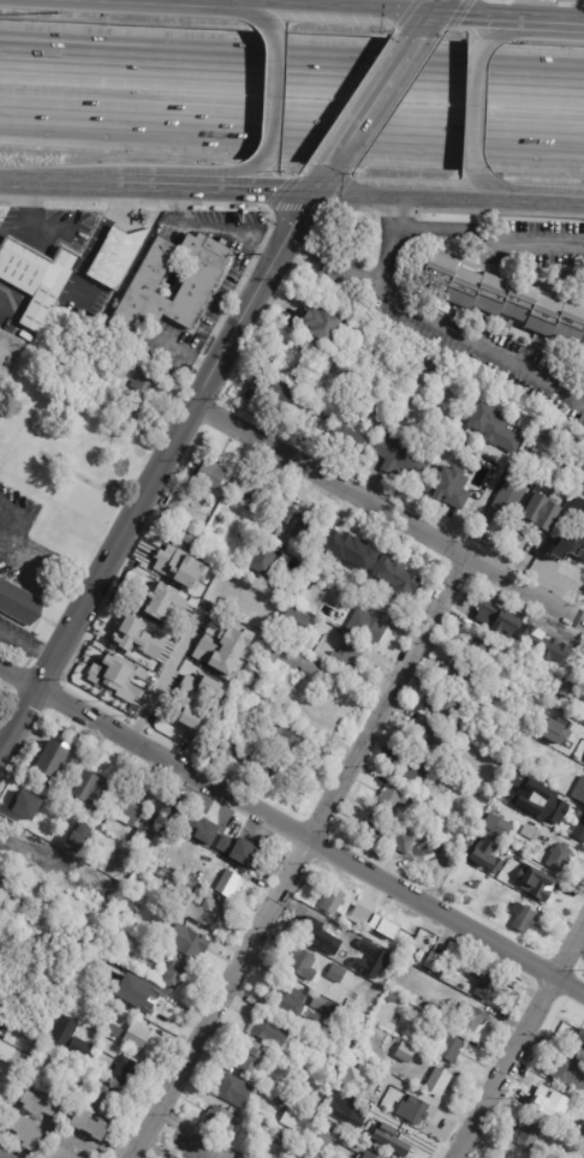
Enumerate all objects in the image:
road: (187, 2)
road: (354, 6)
road: (338, 11)
road: (261, 16)
traffic signals: (431, 16)
road: (430, 17)
road: (487, 18)
road: (562, 22)
road: (513, 30)
road: (12, 53)
road: (12, 54)
road: (304, 67)
road: (273, 96)
road: (371, 106)
road: (473, 107)
road: (292, 126)
road: (236, 178)
road: (56, 185)
road: (159, 189)
road: (495, 191)
road: (258, 193)
traffic signals: (312, 196)
road: (6, 198)
road: (29, 198)
road: (415, 198)
road: (73, 199)
road: (119, 201)
road: (219, 203)
road: (550, 203)
road: (183, 204)
road: (332, 207)
road: (393, 208)
road: (392, 210)
road: (497, 210)
road: (32, 223)
road: (0, 228)
road: (488, 229)
road: (234, 232)
road: (90, 246)
building: (115, 258)
road: (332, 267)
building: (36, 277)
building: (149, 281)
building: (506, 298)
road: (1, 314)
building: (323, 323)
road: (451, 332)
building: (284, 354)
building: (435, 364)
building: (276, 390)
building: (139, 395)
building: (108, 411)
building: (494, 428)
building: (560, 435)
building: (348, 438)
building: (531, 443)
building: (401, 460)
road: (160, 466)
building: (210, 472)
building: (449, 487)
building: (256, 497)
building: (577, 497)
building: (507, 502)
building: (181, 509)
road: (389, 512)
road: (24, 513)
building: (542, 514)
building: (300, 523)
building: (179, 530)
building: (191, 538)
building: (578, 539)
building: (347, 549)
road: (48, 554)
building: (264, 561)
building: (179, 567)
road: (31, 574)
building: (394, 578)
building: (160, 601)
building: (19, 605)
building: (330, 608)
building: (495, 611)
building: (296, 617)
building: (368, 626)
building: (279, 629)
building: (136, 638)
building: (220, 646)
building: (482, 646)
road: (26, 649)
building: (347, 655)
building: (296, 661)
building: (500, 661)
building: (256, 662)
building: (115, 675)
building: (254, 675)
building: (459, 675)
road: (162, 680)
building: (567, 684)
building: (248, 686)
building: (267, 700)
building: (446, 708)
building: (582, 709)
building: (191, 721)
building: (500, 733)
building: (425, 739)
building: (286, 742)
building: (225, 745)
building: (401, 751)
building: (52, 758)
building: (562, 766)
building: (261, 770)
building: (446, 772)
building: (415, 774)
building: (91, 789)
building: (54, 792)
building: (579, 792)
building: (416, 799)
building: (485, 799)
building: (393, 801)
building: (540, 801)
building: (139, 813)
building: (31, 819)
building: (499, 825)
building: (108, 826)
building: (578, 828)
road: (291, 830)
building: (81, 834)
building: (376, 834)
building: (531, 834)
building: (546, 840)
building: (234, 843)
building: (404, 843)
building: (485, 855)
building: (208, 856)
road: (299, 856)
building: (560, 856)
road: (544, 870)
building: (166, 872)
building: (532, 875)
building: (230, 882)
building: (186, 883)
building: (5, 885)
building: (475, 885)
building: (546, 890)
building: (18, 901)
building: (333, 901)
building: (469, 901)
building: (202, 911)
building: (359, 914)
building: (370, 915)
building: (524, 919)
building: (382, 926)
building: (149, 932)
building: (323, 936)
building: (25, 938)
building: (187, 941)
building: (81, 942)
building: (359, 944)
building: (433, 962)
building: (304, 963)
building: (156, 971)
building: (336, 973)
building: (174, 974)
building: (485, 985)
building: (398, 986)
building: (119, 992)
building: (91, 995)
building: (393, 997)
building: (288, 998)
building: (424, 998)
building: (105, 1002)
building: (323, 1004)
building: (156, 1007)
building: (434, 1007)
building: (472, 1016)
building: (309, 1020)
building: (114, 1028)
building: (348, 1032)
building: (139, 1035)
building: (583, 1035)
building: (290, 1037)
road: (519, 1043)
building: (452, 1045)
building: (580, 1047)
building: (72, 1051)
building: (251, 1052)
building: (407, 1052)
building: (370, 1053)
building: (339, 1062)
building: (126, 1068)
building: (568, 1074)
building: (357, 1076)
building: (385, 1080)
building: (439, 1081)
building: (236, 1090)
building: (106, 1098)
building: (280, 1100)
building: (555, 1103)
building: (44, 1104)
building: (415, 1110)
building: (296, 1118)
building: (382, 1118)
building: (220, 1121)
building: (90, 1124)
building: (532, 1129)
building: (28, 1132)
building: (340, 1138)
building: (280, 1140)
building: (400, 1140)
building: (512, 1142)
building: (197, 1147)
road: (90, 1150)
building: (225, 1150)
building: (64, 1152)
building: (7, 1153)
building: (305, 1153)
building: (517, 1154)
building: (370, 1156)
building: (83, 1157)

